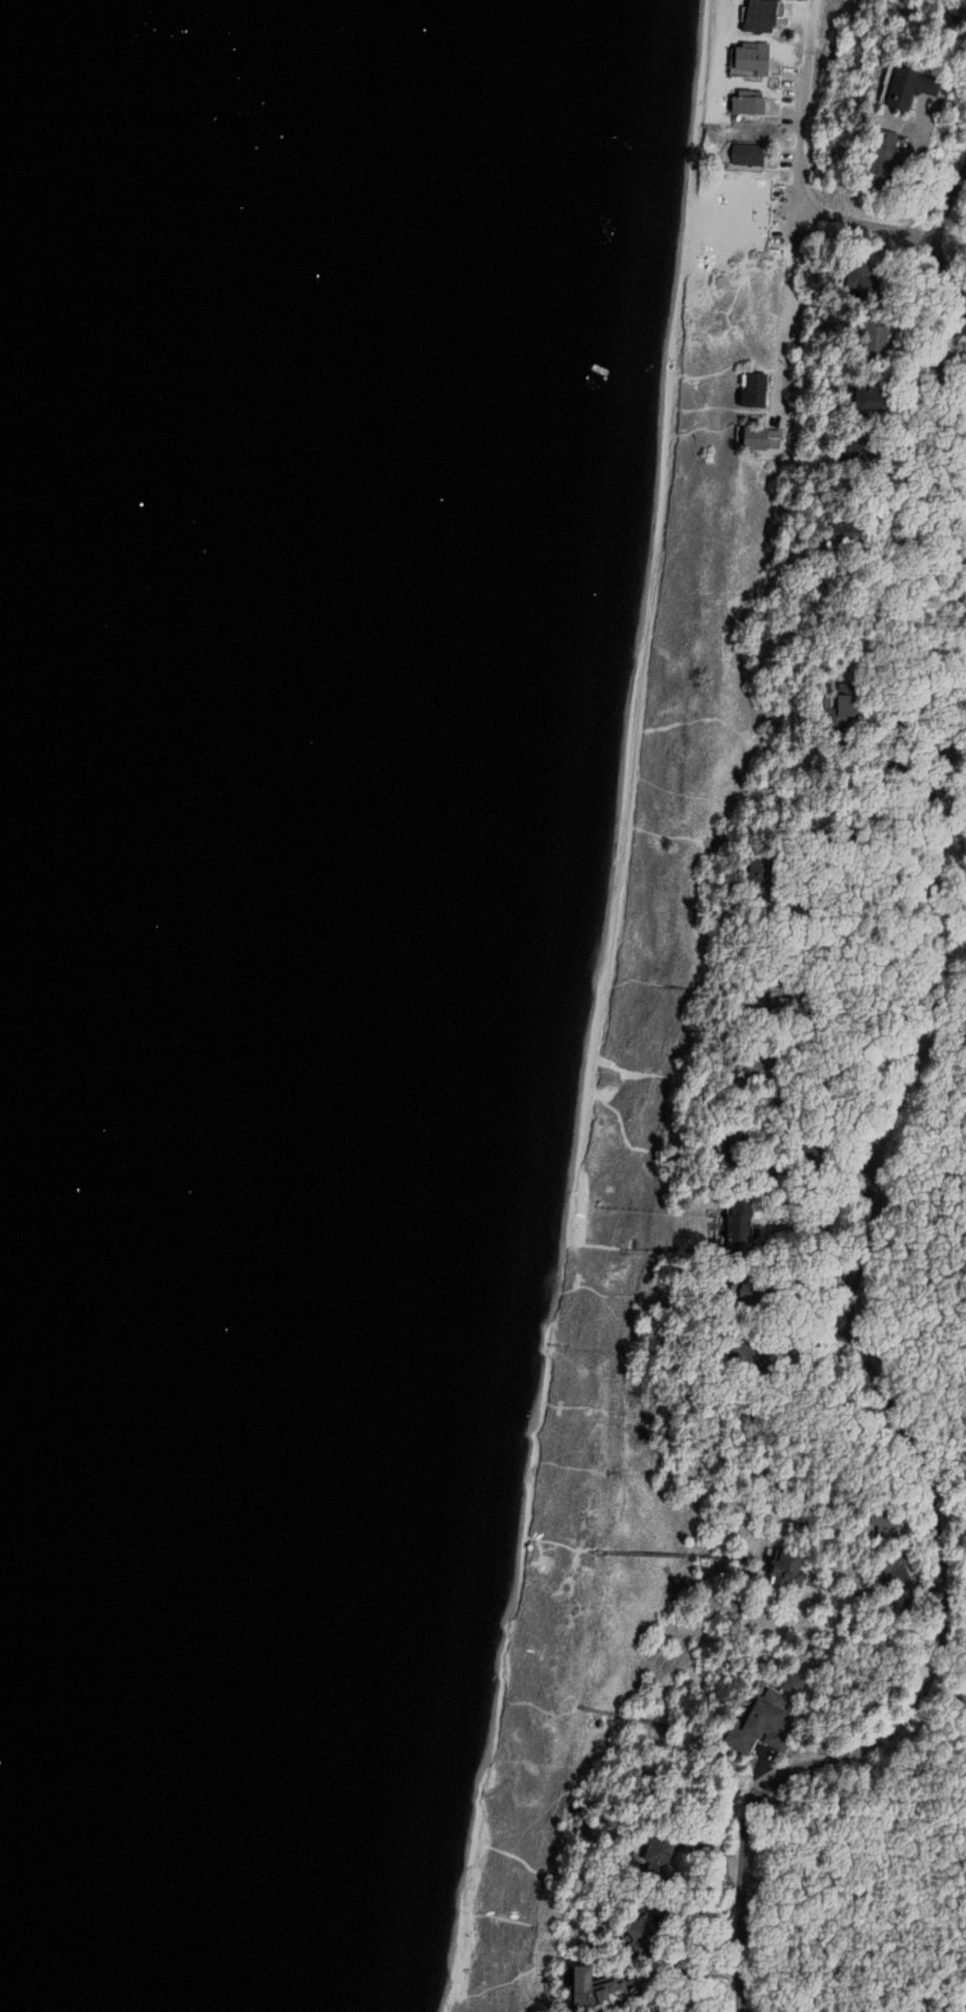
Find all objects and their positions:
building: (771, 16)
building: (762, 59)
road: (801, 171)
road: (931, 180)
road: (895, 231)
building: (756, 391)
building: (763, 439)
road: (927, 472)
building: (851, 706)
building: (719, 1235)
road: (920, 1474)
building: (878, 1526)
building: (769, 1566)
building: (744, 1725)

